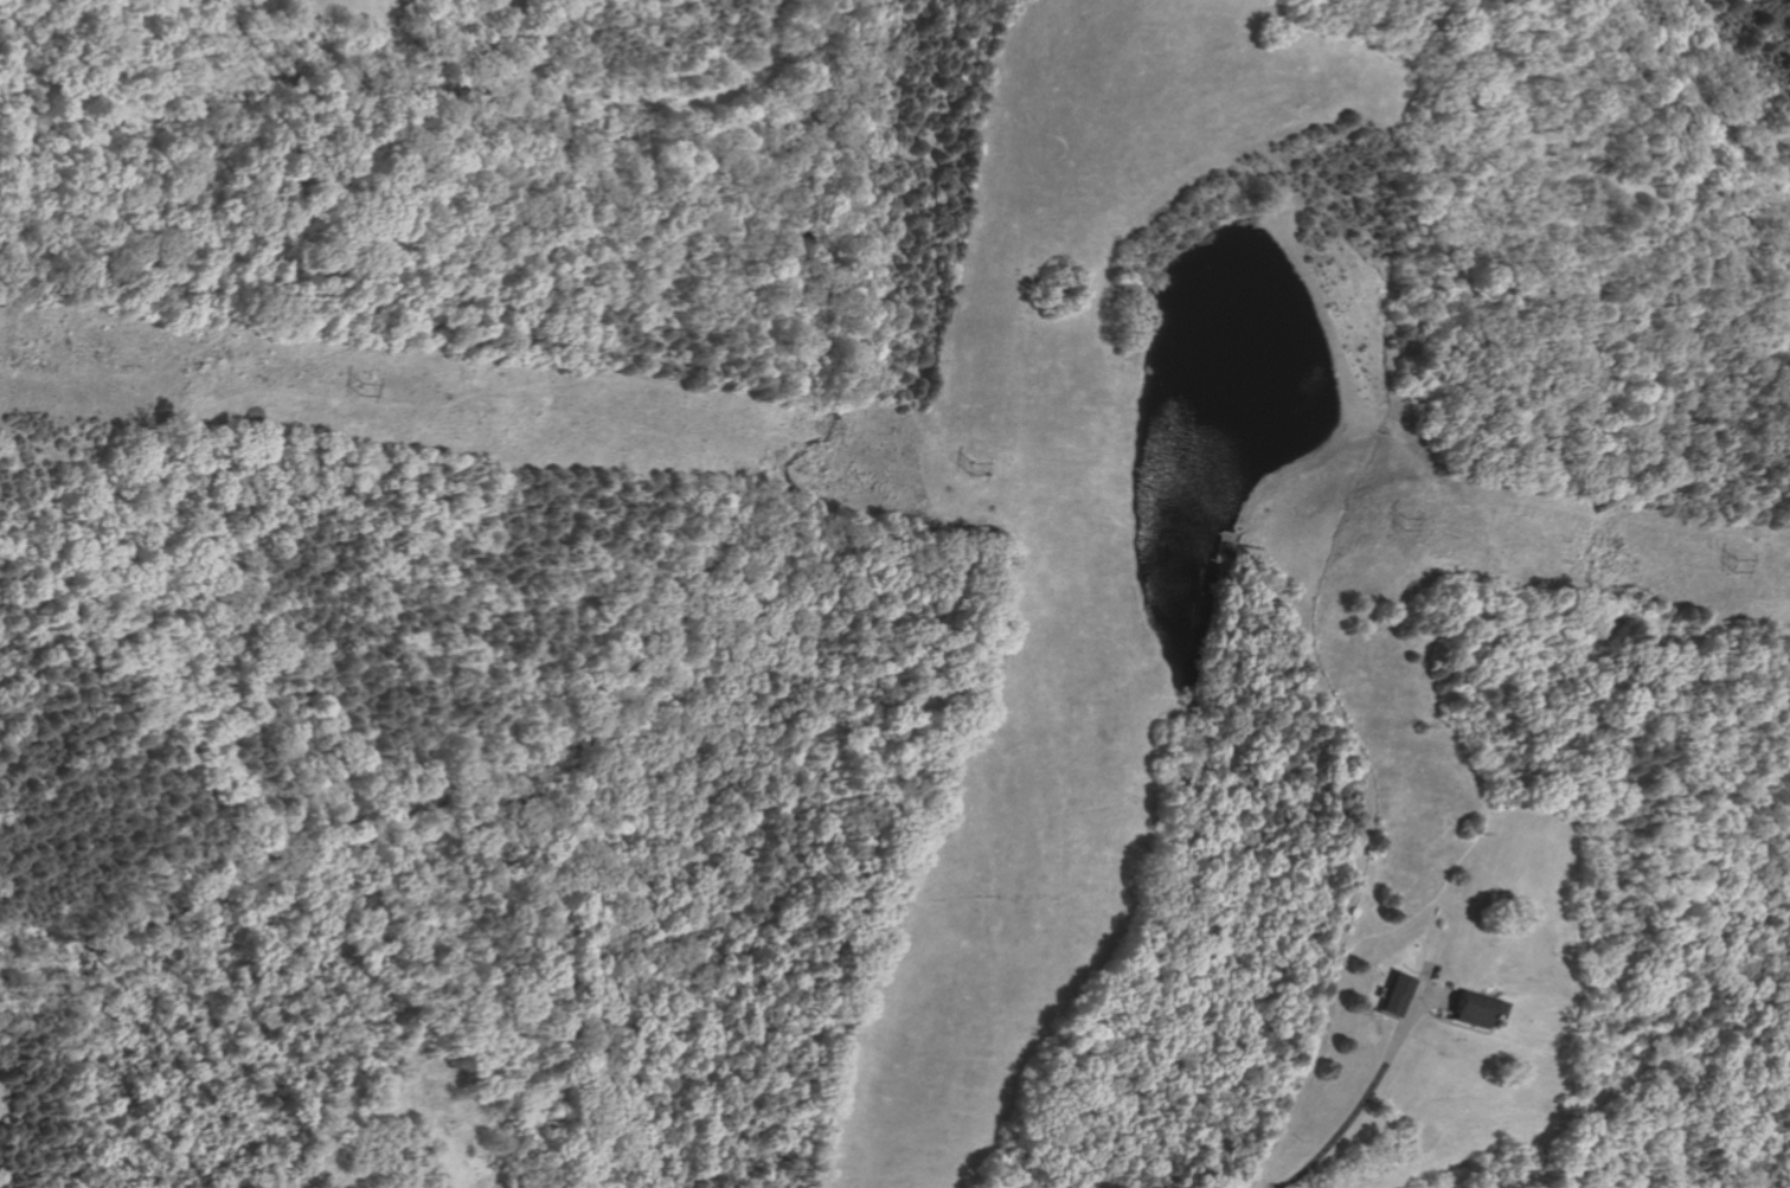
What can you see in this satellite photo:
power tower: (354, 384)
power tower: (967, 462)
power tower: (1398, 521)
power tower: (1726, 564)
road: (1369, 827)
building: (1400, 993)
road: (1438, 995)
building: (1475, 1008)
road: (1409, 1013)
road: (1454, 1025)
road: (1468, 1027)
road: (1339, 1131)

